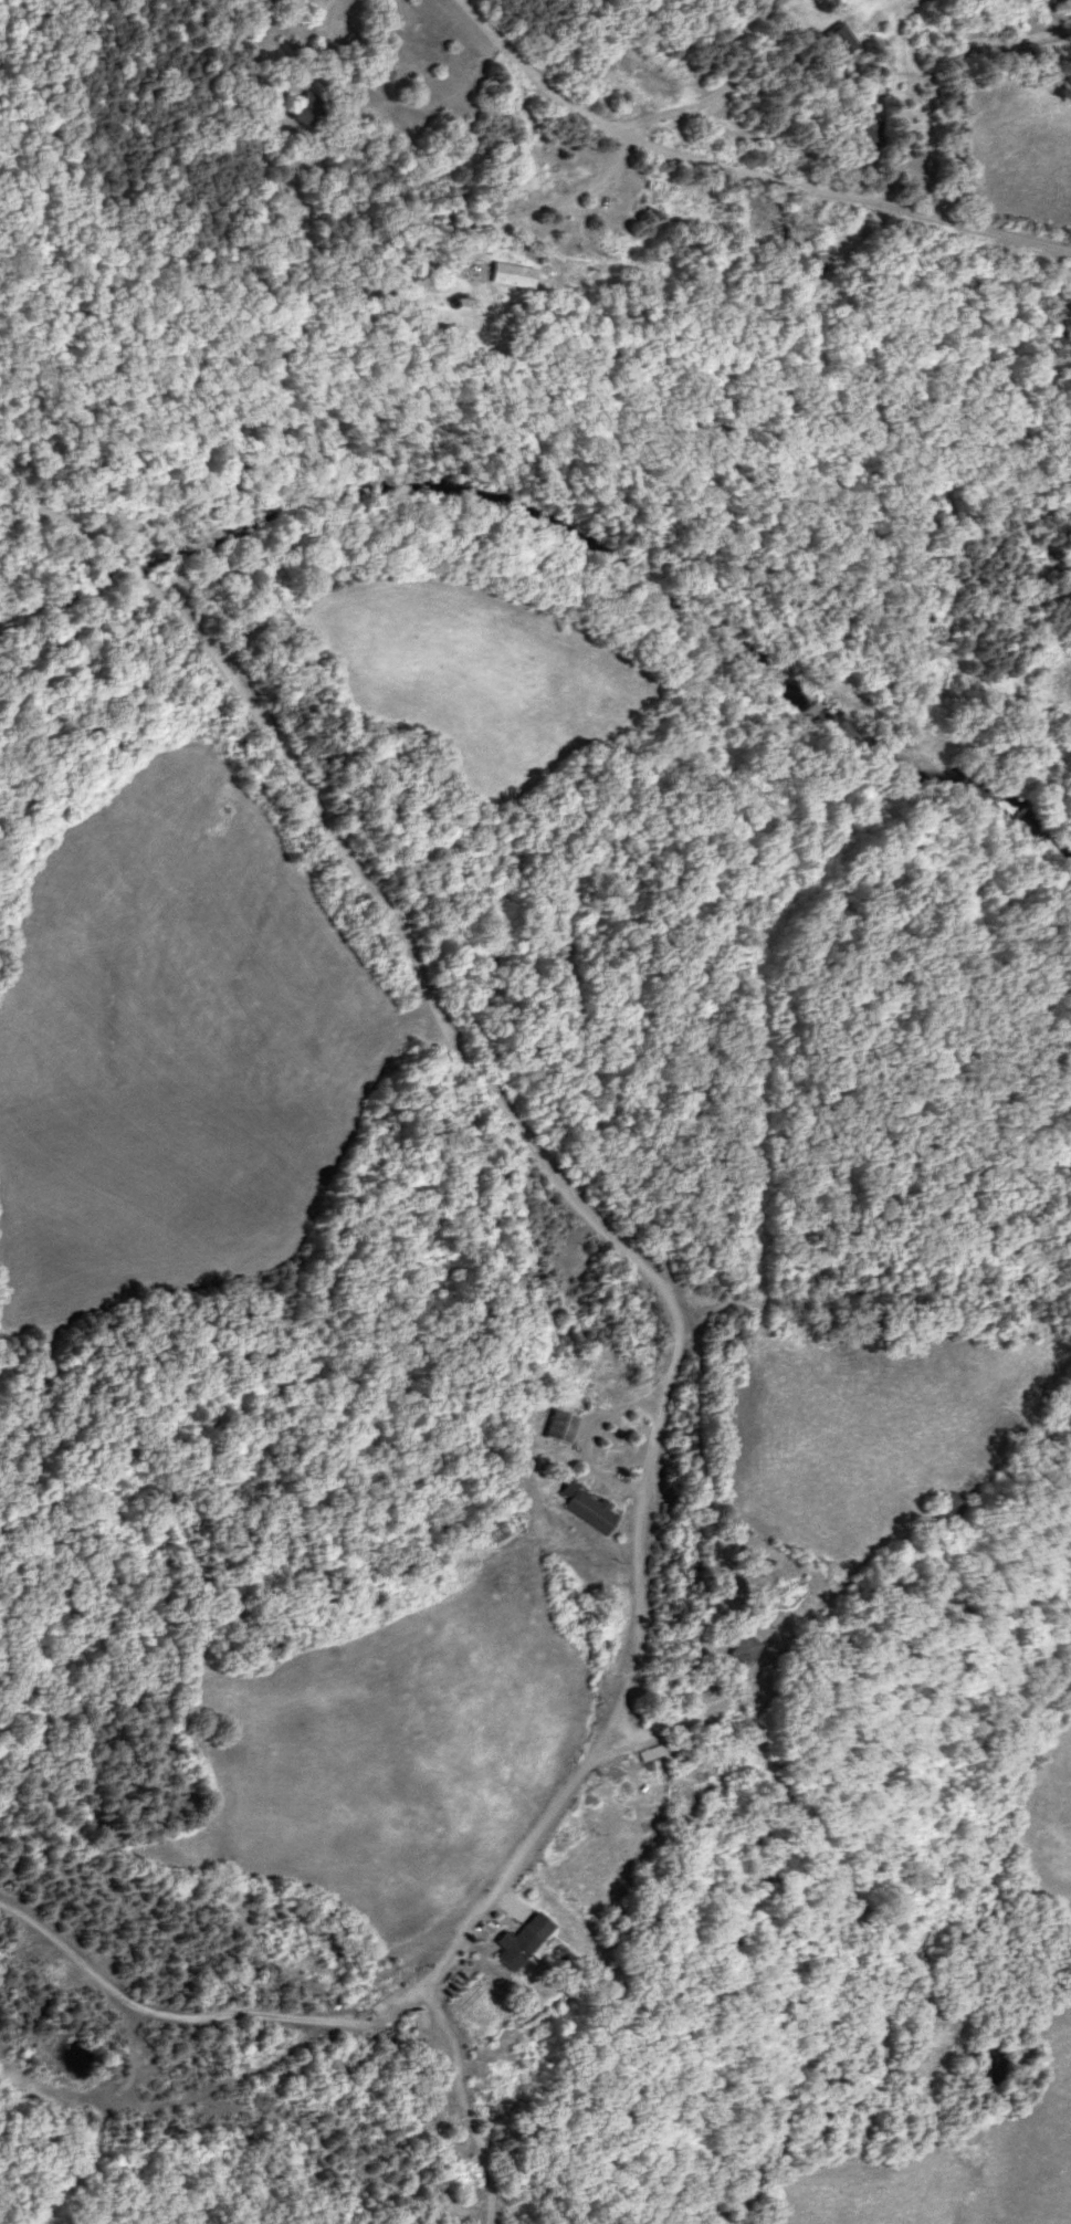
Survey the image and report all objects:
building: (342, 45)
road: (723, 91)
road: (391, 99)
road: (953, 111)
building: (557, 177)
road: (738, 177)
building: (806, 260)
building: (1057, 334)
road: (65, 512)
building: (1070, 522)
building: (1058, 680)
road: (632, 825)
road: (426, 919)
road: (349, 1147)
road: (587, 1440)
building: (946, 1509)
building: (591, 1511)
building: (744, 1648)
road: (532, 1844)
building: (522, 1940)
building: (417, 2018)

